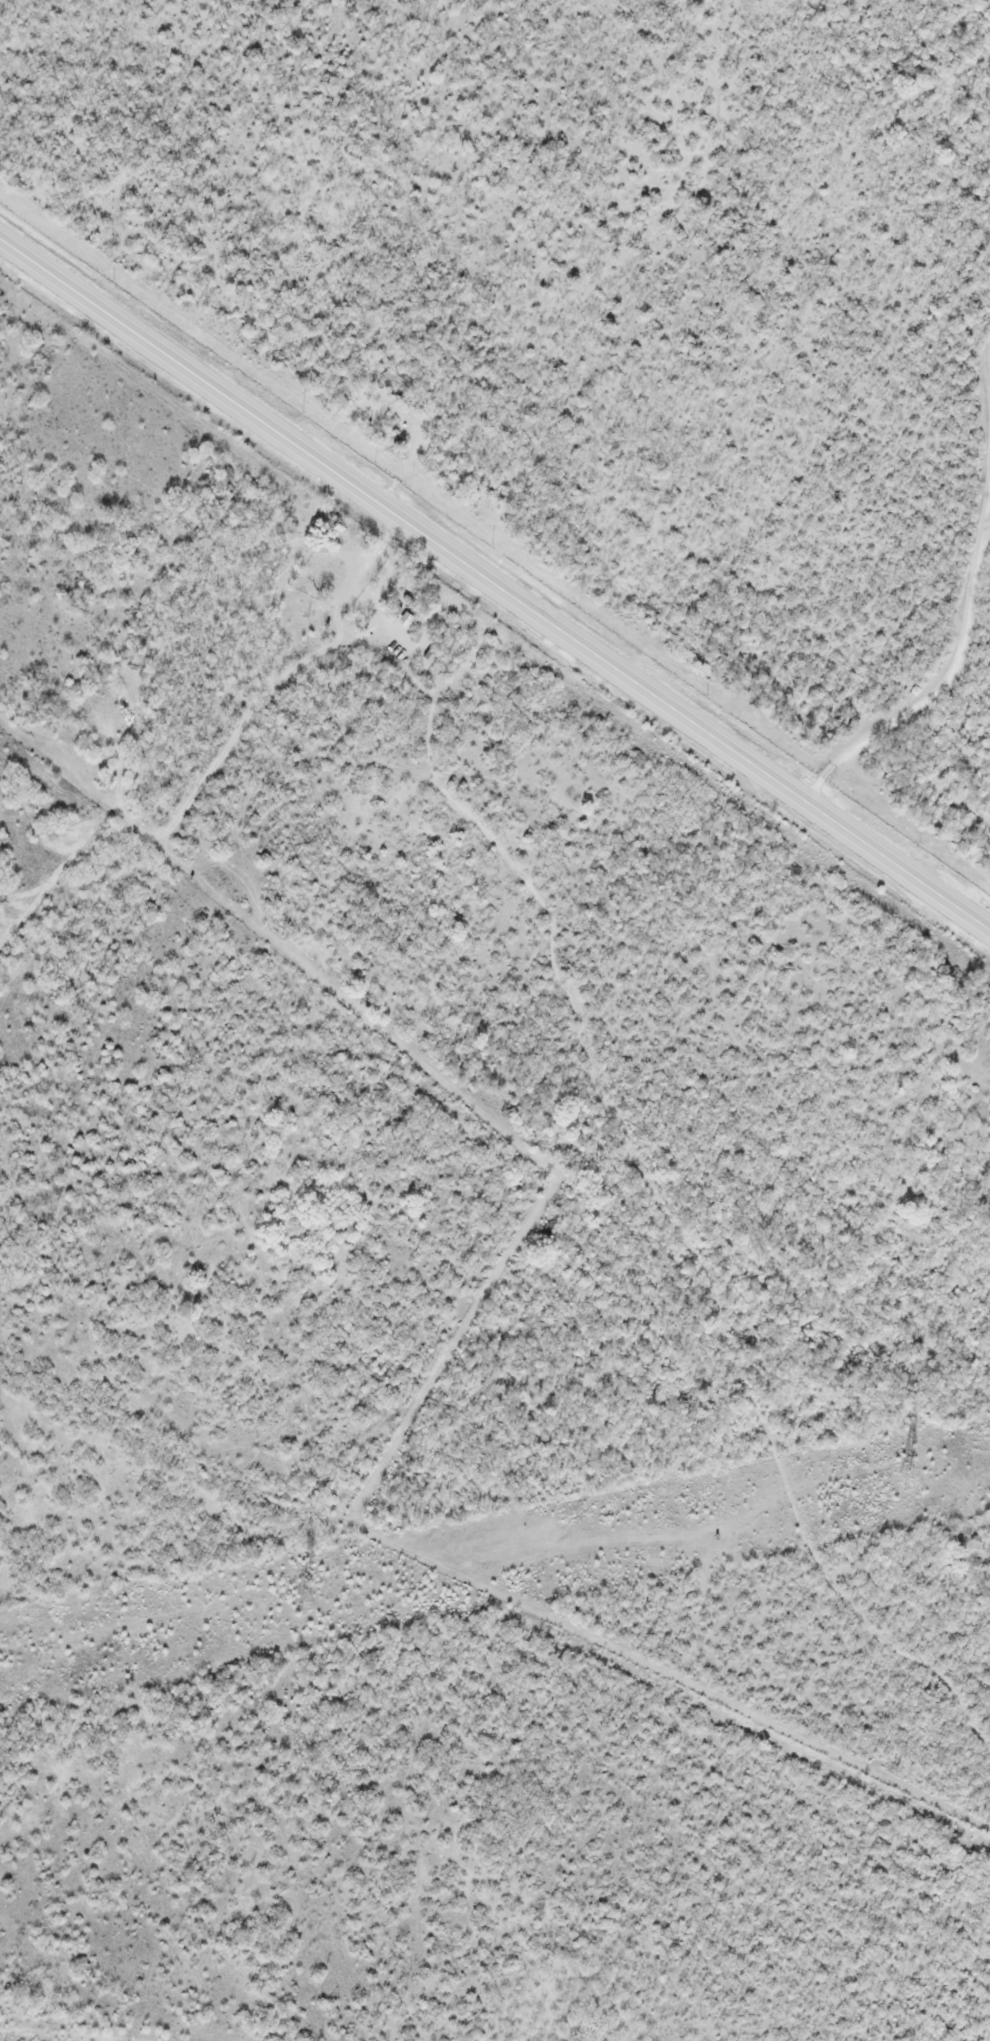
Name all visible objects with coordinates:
road: (200, 152)
building: (339, 563)
road: (494, 578)
building: (406, 620)
power tower: (906, 1481)
power tower: (303, 1602)

